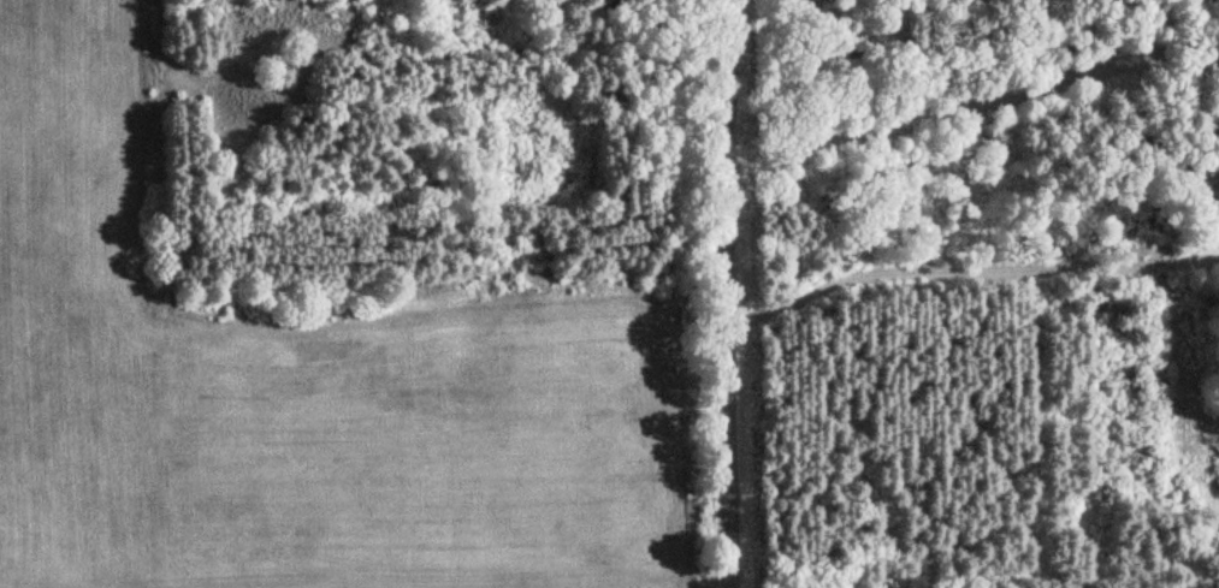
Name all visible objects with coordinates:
road: (966, 17)
road: (718, 293)

